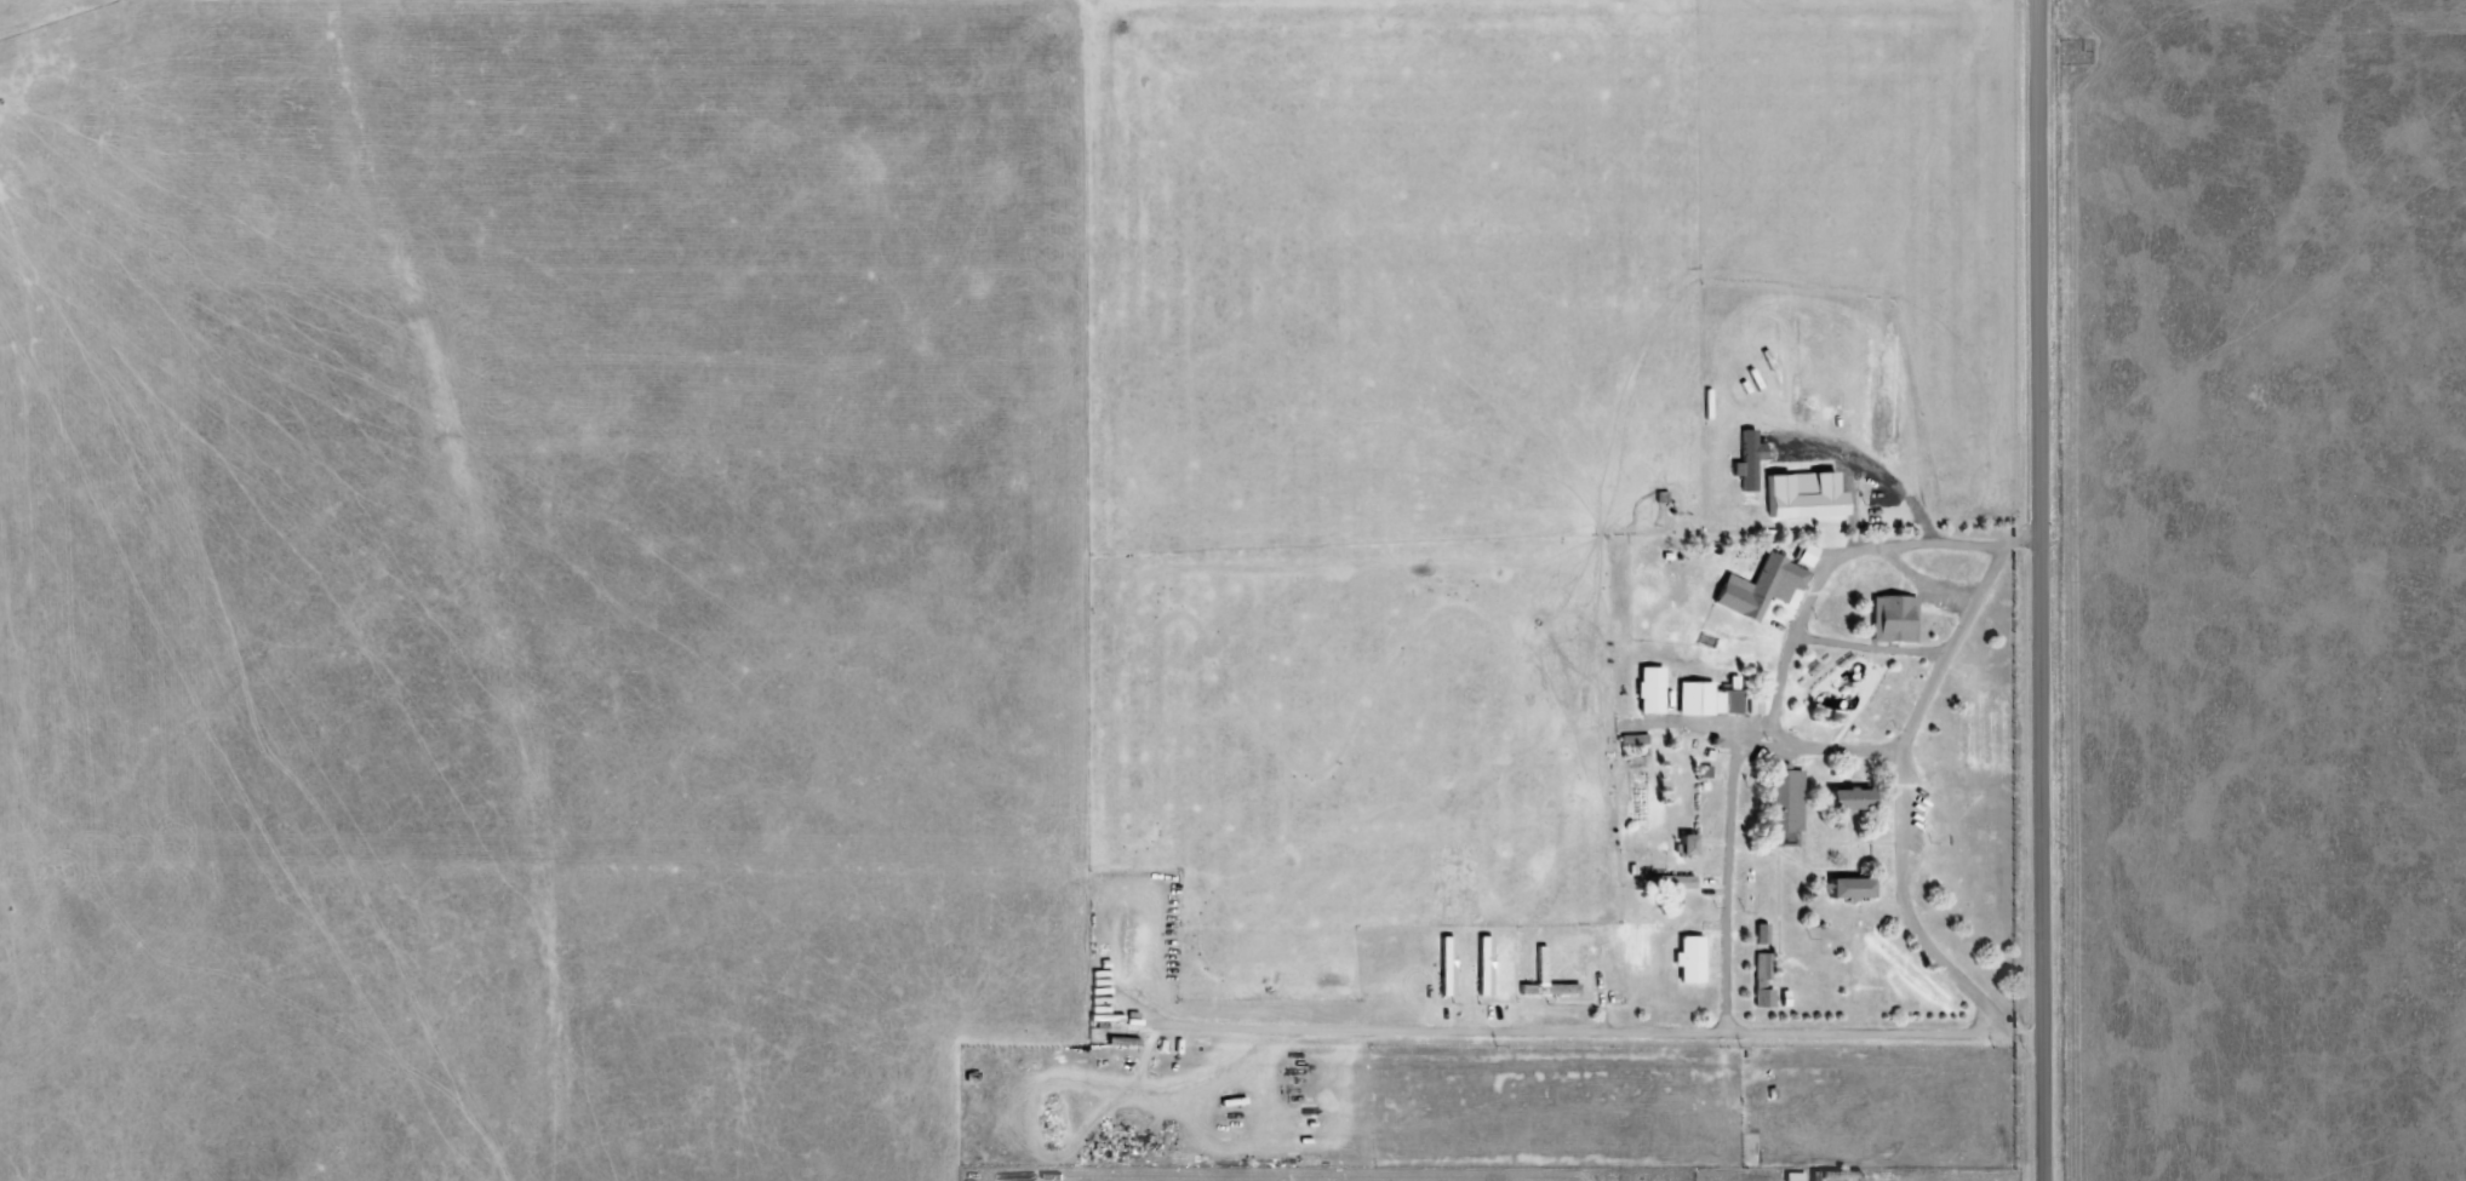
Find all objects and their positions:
road: (1069, 117)
building: (1746, 459)
building: (1816, 498)
building: (1804, 554)
building: (1758, 586)
road: (2042, 590)
road: (1892, 684)
building: (1648, 689)
building: (1706, 698)
building: (1752, 704)
building: (1784, 799)
building: (1684, 843)
building: (1670, 881)
building: (1848, 887)
road: (1886, 925)
building: (1760, 933)
building: (1688, 958)
building: (1761, 967)
building: (1762, 997)

